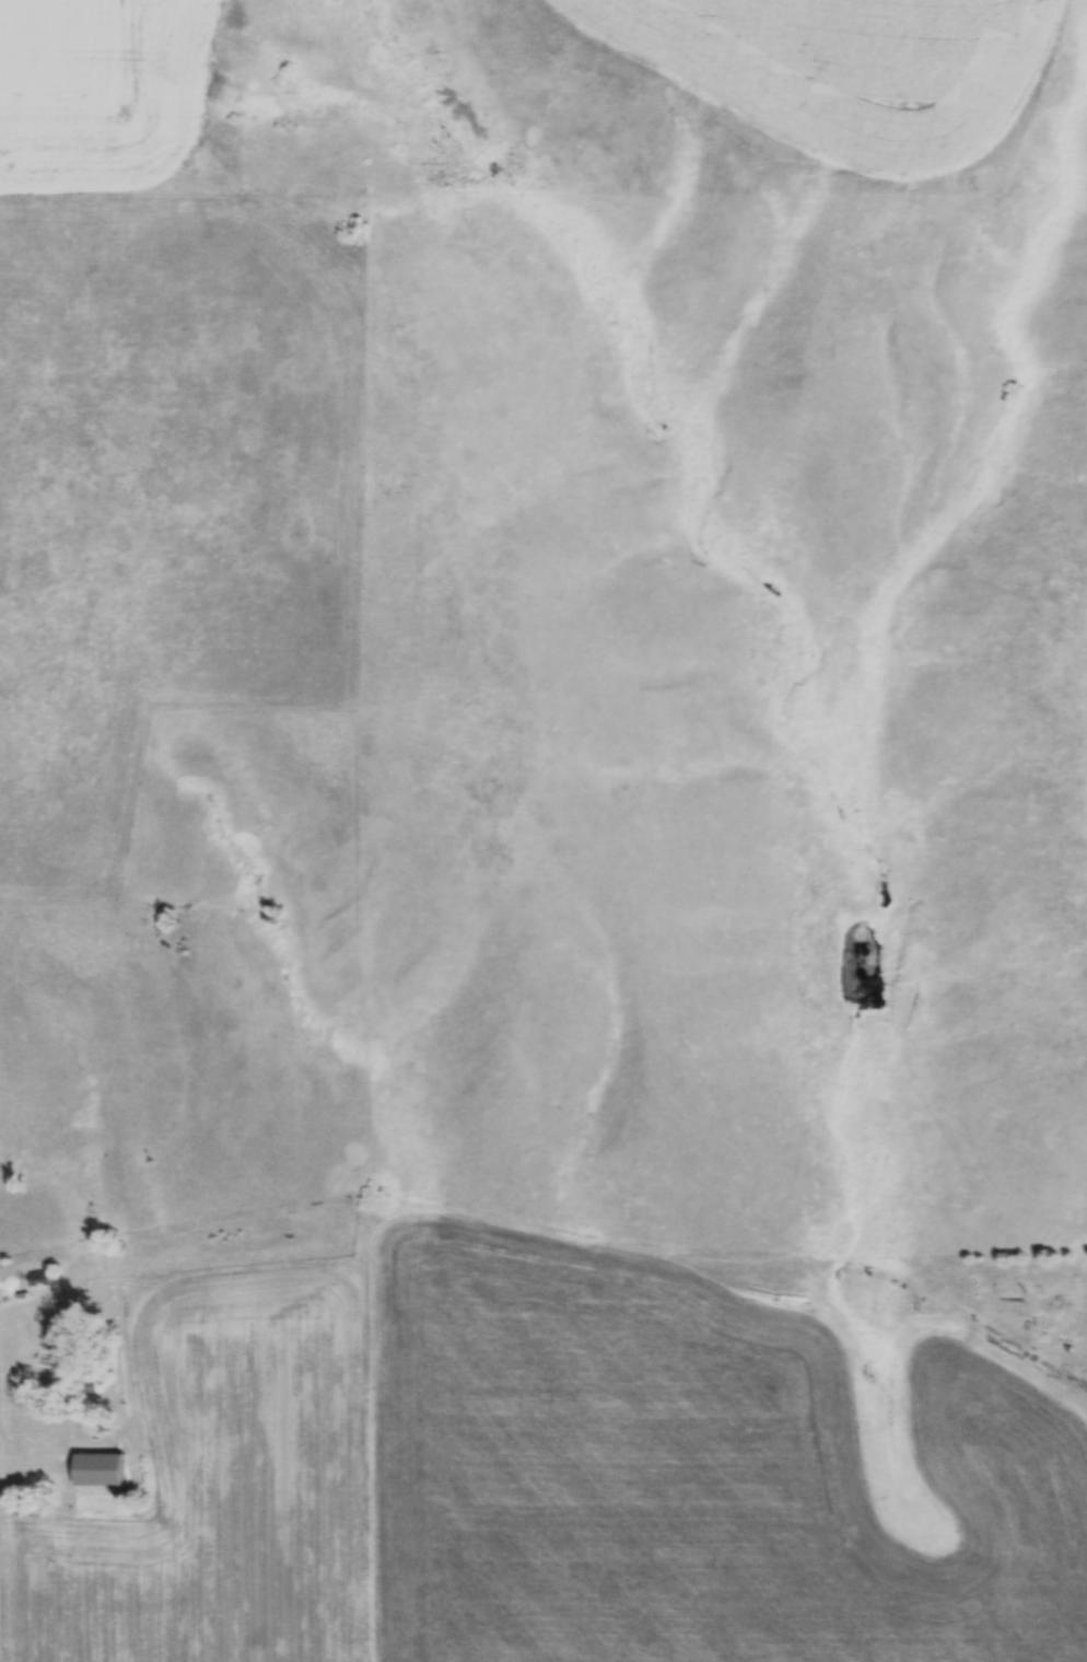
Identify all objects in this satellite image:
building: (35, 1282)
building: (93, 1472)

